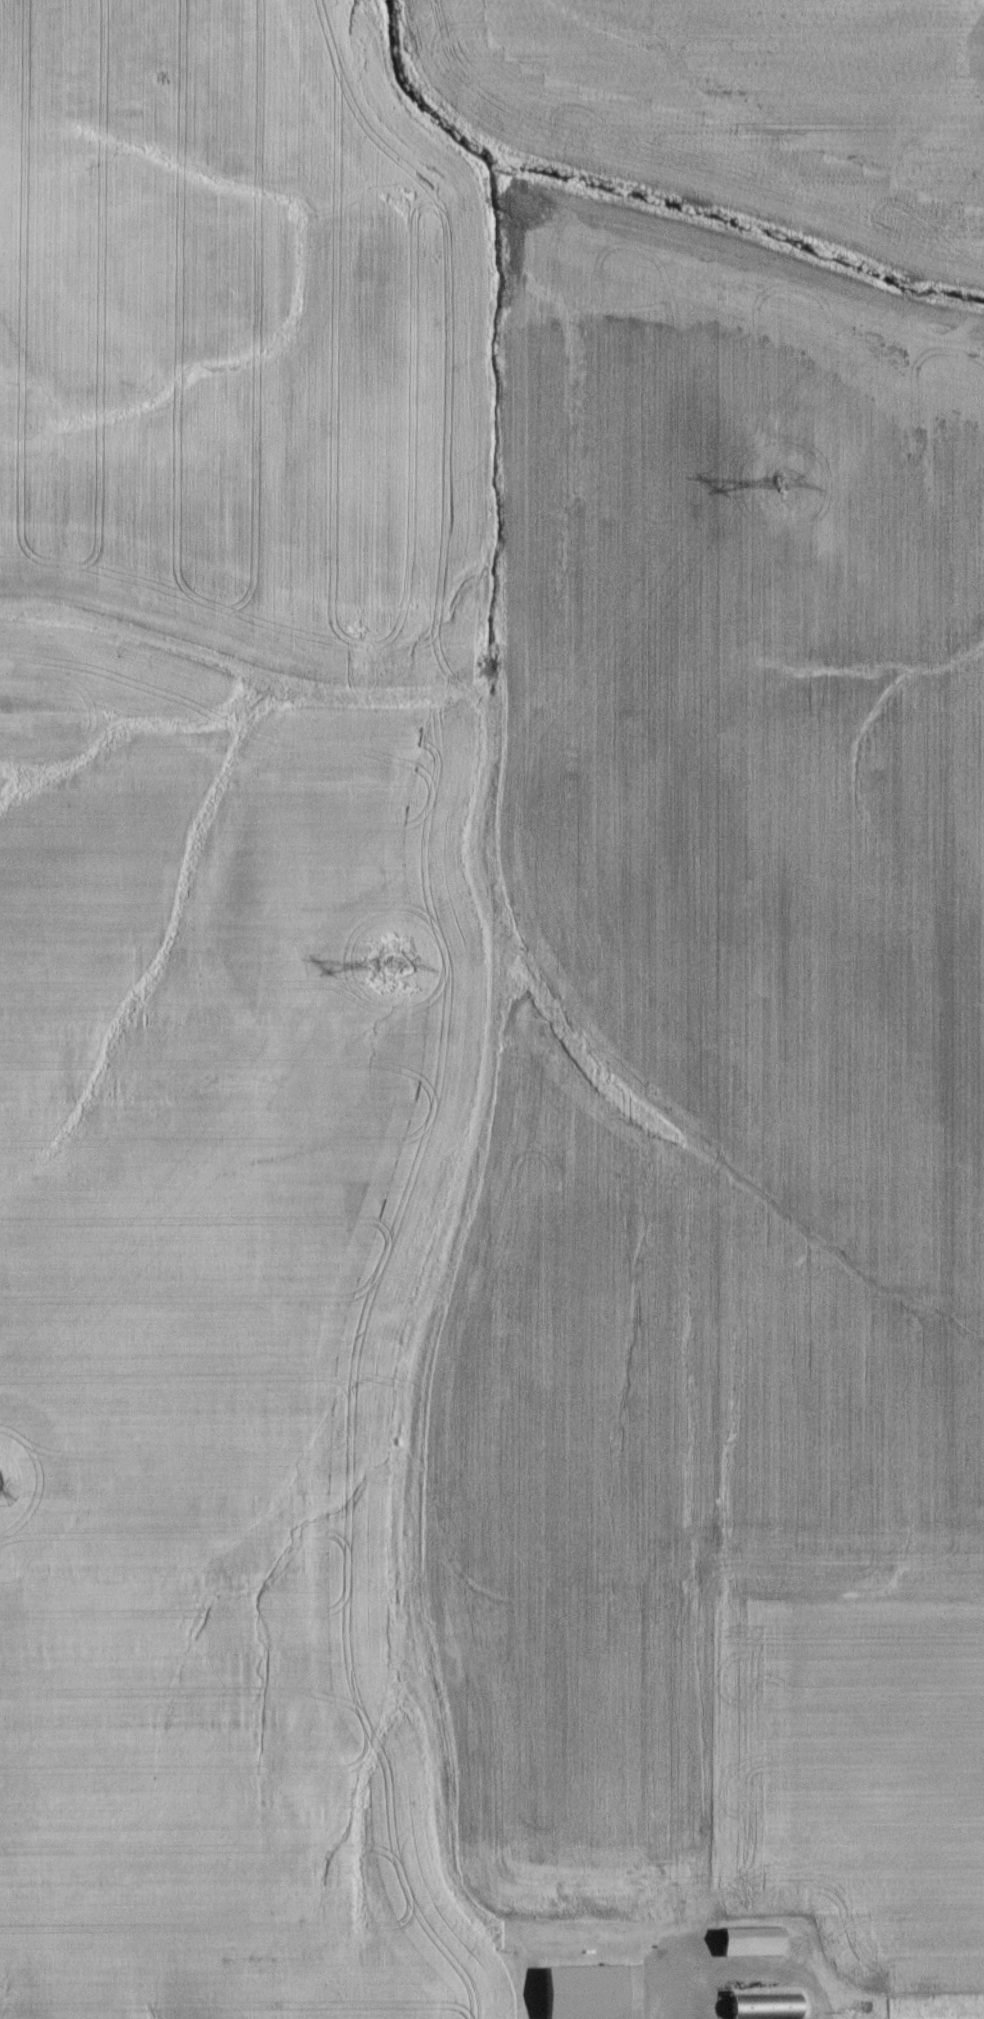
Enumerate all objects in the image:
power tower: (772, 489)
power tower: (389, 968)
building: (743, 1947)
building: (576, 1995)
building: (758, 2009)

